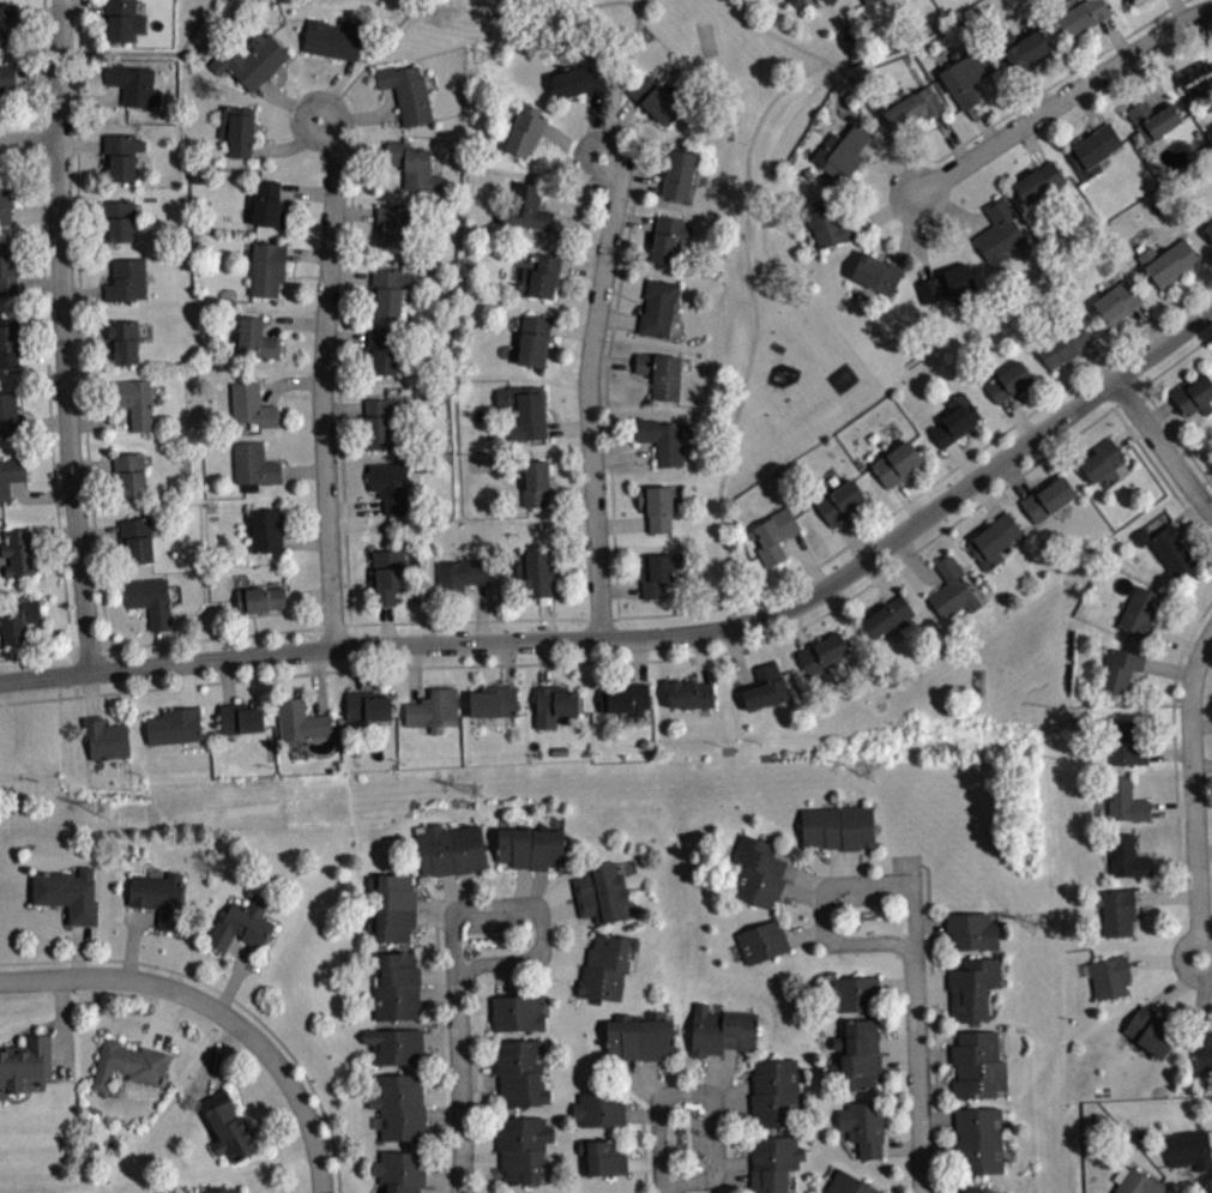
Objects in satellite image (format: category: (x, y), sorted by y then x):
building: (1127, 0)
building: (828, 1)
building: (868, 1)
road: (423, 2)
building: (796, 2)
road: (523, 10)
road: (1178, 10)
building: (1081, 16)
building: (123, 19)
building: (7, 25)
road: (1204, 29)
road: (777, 34)
road: (1115, 35)
building: (332, 40)
building: (1023, 47)
road: (150, 50)
building: (251, 59)
road: (43, 60)
road: (369, 60)
building: (965, 76)
building: (7, 77)
road: (623, 77)
road: (1148, 77)
building: (1199, 78)
building: (579, 79)
building: (132, 83)
road: (1036, 89)
building: (406, 91)
road: (1039, 91)
road: (1062, 97)
building: (658, 98)
building: (911, 106)
road: (1090, 106)
building: (1151, 120)
road: (22, 121)
road: (983, 122)
road: (619, 127)
building: (237, 128)
building: (525, 129)
road: (951, 137)
road: (30, 140)
road: (1032, 144)
building: (1093, 150)
building: (842, 151)
building: (121, 155)
road: (20, 157)
building: (412, 164)
road: (893, 164)
building: (680, 173)
road: (628, 176)
building: (1039, 181)
building: (6, 201)
building: (270, 204)
building: (527, 206)
road: (915, 207)
road: (952, 209)
road: (884, 211)
road: (633, 218)
building: (120, 219)
building: (827, 222)
building: (1206, 222)
building: (393, 225)
building: (999, 230)
building: (668, 239)
road: (904, 242)
road: (747, 248)
road: (918, 251)
building: (1168, 261)
building: (7, 267)
building: (266, 267)
building: (876, 272)
road: (1202, 275)
building: (541, 276)
building: (127, 278)
building: (947, 283)
building: (390, 289)
building: (1116, 301)
building: (658, 306)
road: (619, 318)
park: (773, 319)
road: (80, 324)
road: (1148, 324)
road: (65, 336)
building: (255, 338)
building: (533, 339)
building: (123, 341)
building: (8, 342)
building: (1062, 343)
road: (1198, 343)
building: (384, 350)
road: (340, 354)
road: (611, 360)
road: (1098, 361)
road: (1160, 370)
building: (661, 373)
road: (321, 381)
building: (1008, 381)
road: (48, 392)
road: (589, 394)
building: (1194, 394)
road: (1127, 396)
building: (134, 400)
building: (251, 404)
road: (1158, 409)
building: (523, 410)
building: (11, 415)
road: (1018, 417)
road: (607, 418)
building: (954, 418)
building: (382, 422)
road: (1128, 430)
road: (1176, 434)
building: (661, 439)
road: (1162, 446)
road: (977, 450)
road: (625, 456)
building: (1101, 459)
road: (963, 460)
building: (896, 463)
building: (254, 465)
road: (1159, 472)
building: (10, 474)
building: (129, 474)
road: (1015, 475)
road: (1202, 481)
building: (535, 483)
building: (390, 486)
road: (987, 496)
building: (1047, 498)
road: (908, 500)
building: (839, 501)
building: (657, 506)
road: (1190, 516)
road: (621, 523)
building: (267, 530)
building: (773, 535)
building: (137, 538)
road: (852, 538)
building: (995, 540)
building: (1166, 548)
building: (18, 553)
road: (807, 558)
road: (916, 561)
building: (661, 571)
building: (535, 572)
building: (387, 574)
building: (459, 576)
road: (879, 577)
road: (620, 588)
building: (952, 589)
building: (261, 596)
building: (151, 599)
building: (1139, 611)
building: (888, 615)
building: (20, 620)
road: (362, 622)
road: (795, 627)
road: (655, 635)
road: (1175, 639)
road: (89, 643)
road: (35, 653)
building: (822, 653)
road: (700, 657)
road: (737, 657)
road: (1180, 657)
road: (633, 659)
road: (639, 659)
park: (1000, 668)
building: (1120, 668)
road: (1168, 668)
road: (73, 673)
building: (766, 687)
building: (691, 693)
building: (625, 697)
road: (43, 698)
building: (494, 700)
building: (554, 704)
building: (367, 705)
building: (434, 710)
building: (240, 718)
building: (301, 719)
road: (1172, 719)
road: (1201, 723)
building: (174, 725)
building: (105, 737)
building: (1126, 743)
road: (1169, 752)
road: (1202, 764)
power tower: (869, 773)
power tower: (476, 790)
road: (1193, 791)
building: (1124, 800)
road: (1171, 807)
power tower: (102, 811)
building: (838, 826)
building: (530, 845)
building: (451, 848)
road: (1204, 850)
building: (1127, 856)
road: (1174, 864)
building: (758, 870)
road: (807, 878)
road: (1204, 881)
road: (831, 885)
building: (602, 891)
road: (802, 892)
building: (67, 893)
building: (159, 896)
road: (1165, 896)
building: (394, 906)
road: (527, 908)
building: (1117, 911)
road: (930, 922)
building: (242, 923)
power tower: (1042, 924)
building: (972, 930)
road: (804, 933)
building: (762, 941)
road: (1206, 957)
road: (1164, 959)
road: (1206, 963)
building: (605, 966)
building: (1109, 976)
road: (931, 980)
road: (896, 983)
road: (1176, 984)
building: (396, 986)
building: (973, 988)
building: (852, 993)
road: (1202, 994)
road: (228, 995)
road: (933, 995)
road: (213, 1012)
building: (517, 1012)
road: (933, 1019)
building: (722, 1029)
building: (1148, 1030)
building: (640, 1035)
road: (898, 1042)
building: (394, 1044)
building: (1204, 1048)
building: (857, 1053)
road: (440, 1060)
road: (899, 1060)
building: (24, 1061)
building: (128, 1064)
building: (978, 1064)
building: (521, 1071)
road: (711, 1073)
road: (725, 1073)
road: (917, 1073)
road: (652, 1078)
road: (639, 1083)
road: (460, 1085)
road: (732, 1089)
building: (776, 1091)
road: (703, 1092)
road: (732, 1102)
building: (400, 1107)
building: (598, 1108)
road: (640, 1113)
building: (228, 1126)
building: (864, 1126)
building: (979, 1140)
building: (523, 1146)
road: (902, 1147)
building: (1189, 1149)
road: (644, 1152)
building: (604, 1156)
road: (735, 1161)
road: (643, 1162)
building: (773, 1162)
building: (400, 1170)
road: (729, 1177)
building: (1136, 1181)
road: (1205, 1181)
building: (850, 1185)
building: (219, 1189)
building: (976, 1189)
building: (959, 1192)

